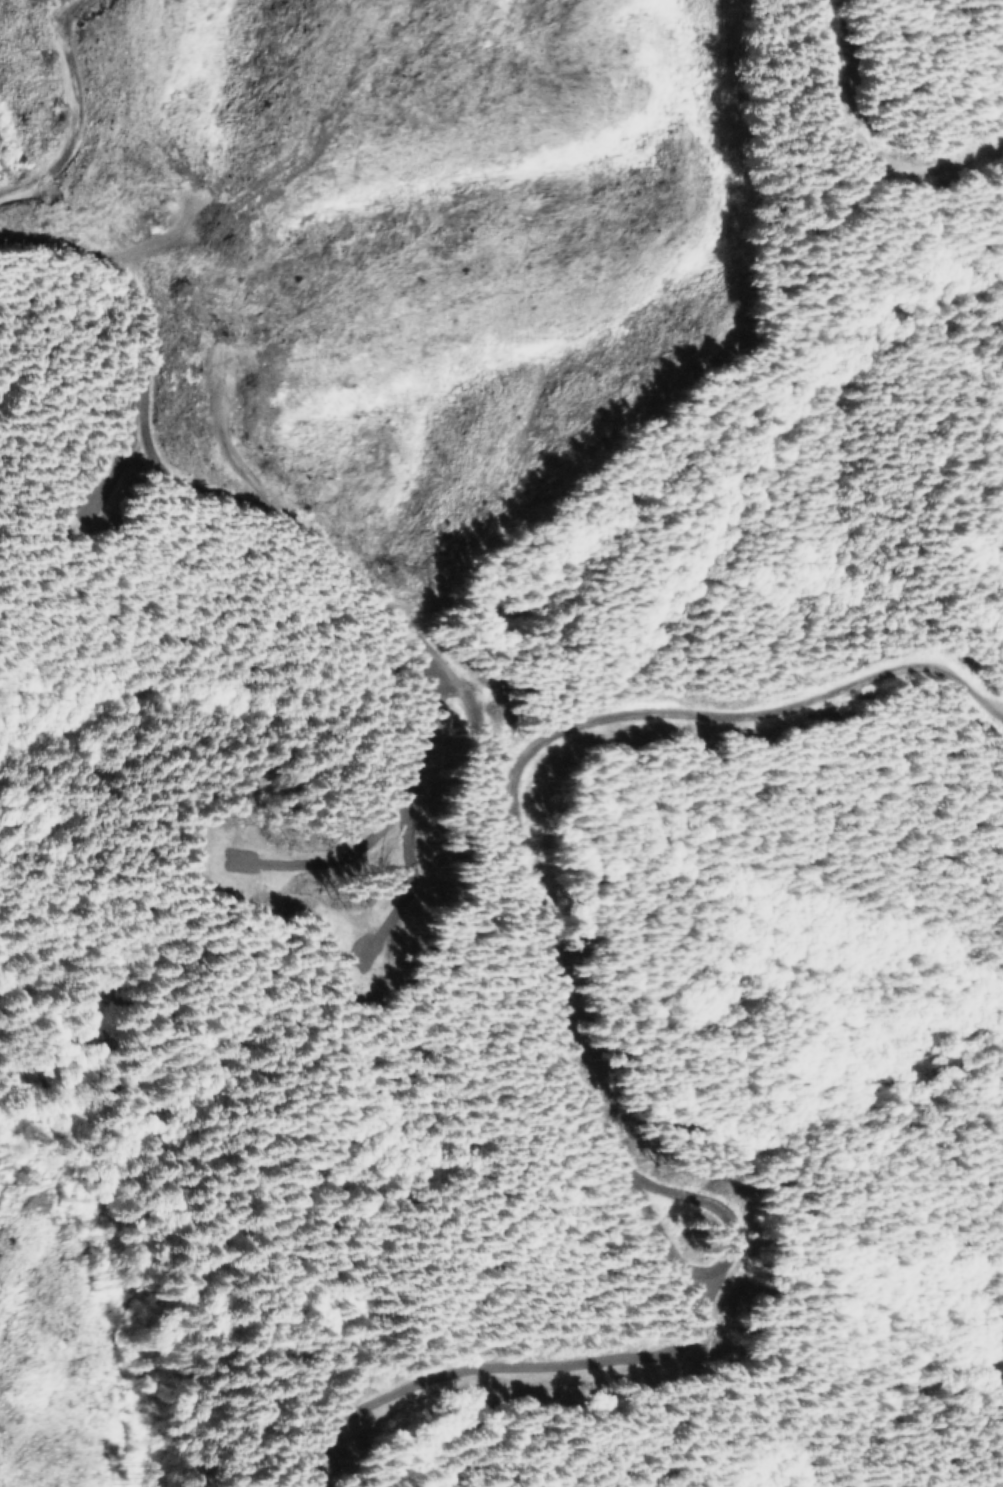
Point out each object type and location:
road: (278, 585)
road: (680, 668)
road: (521, 1005)
road: (1002, 1207)

